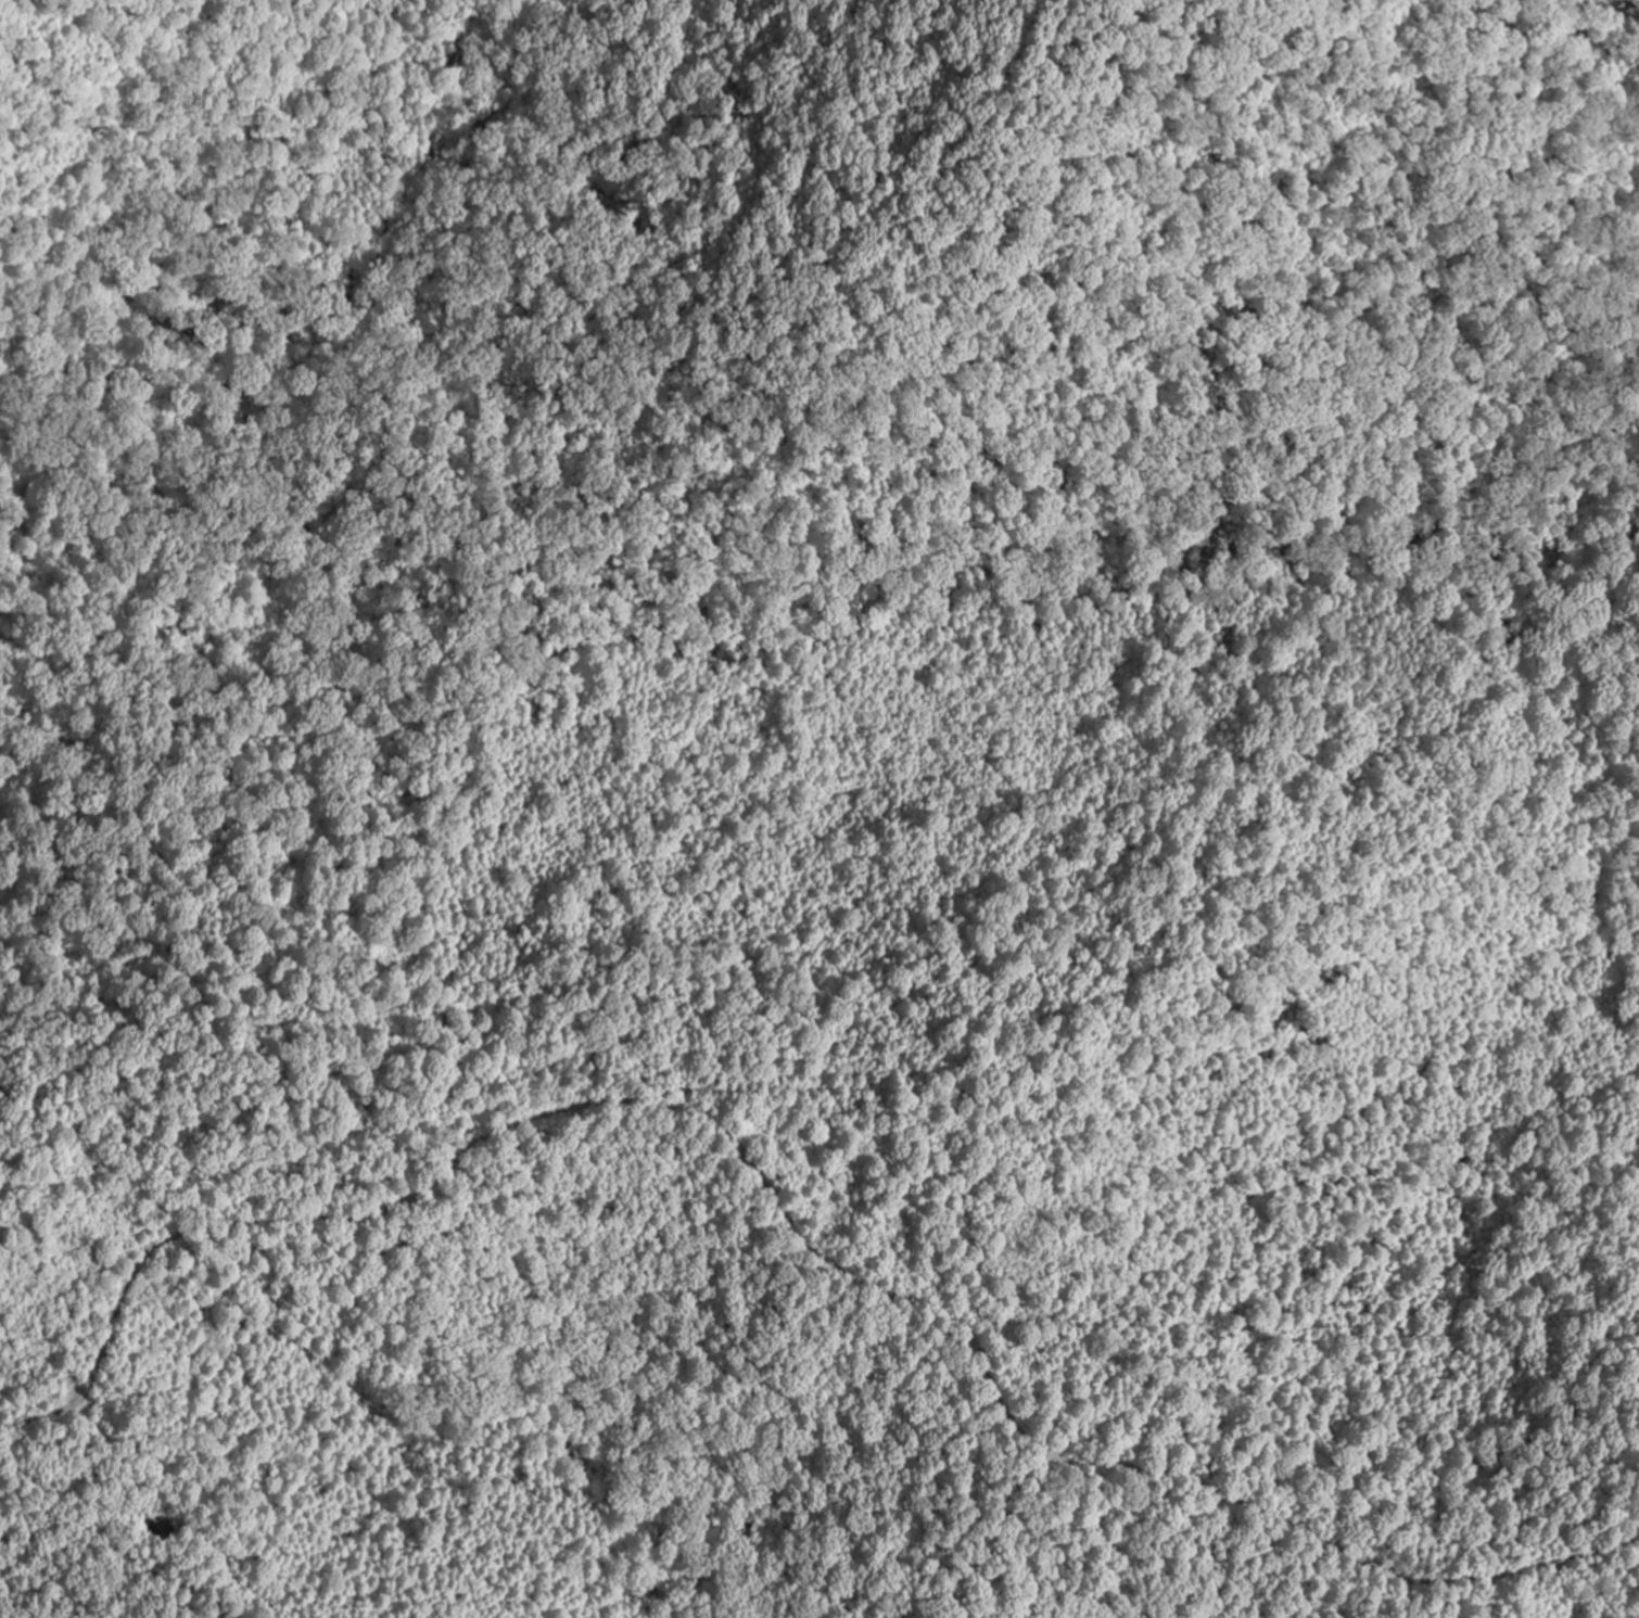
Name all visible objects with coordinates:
road: (603, 1129)
road: (788, 1219)
road: (797, 1239)
road: (110, 1463)
road: (113, 1527)

